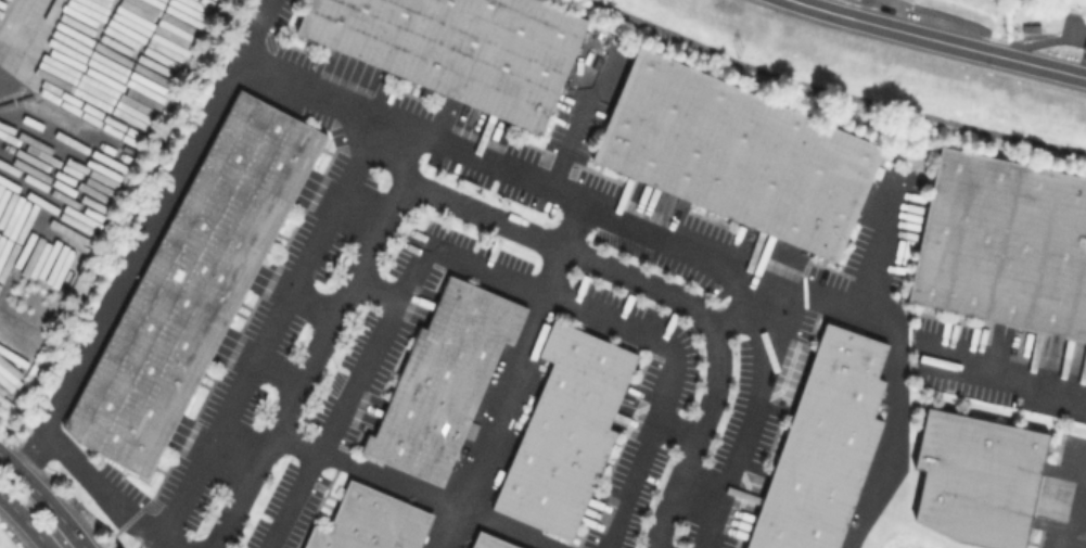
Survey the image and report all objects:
road: (16, 33)
road: (937, 40)
building: (467, 47)
building: (1085, 49)
road: (838, 89)
building: (745, 154)
road: (25, 165)
road: (181, 166)
road: (356, 212)
road: (482, 214)
road: (570, 226)
building: (1006, 244)
road: (700, 263)
road: (489, 271)
building: (200, 284)
road: (376, 290)
road: (310, 302)
road: (265, 328)
road: (895, 345)
road: (276, 371)
road: (994, 372)
building: (449, 381)
road: (507, 398)
road: (675, 430)
building: (573, 431)
building: (825, 446)
road: (234, 451)
building: (980, 477)
road: (418, 489)
road: (106, 490)
road: (40, 495)
building: (378, 523)
road: (28, 525)
building: (495, 541)
road: (65, 546)

